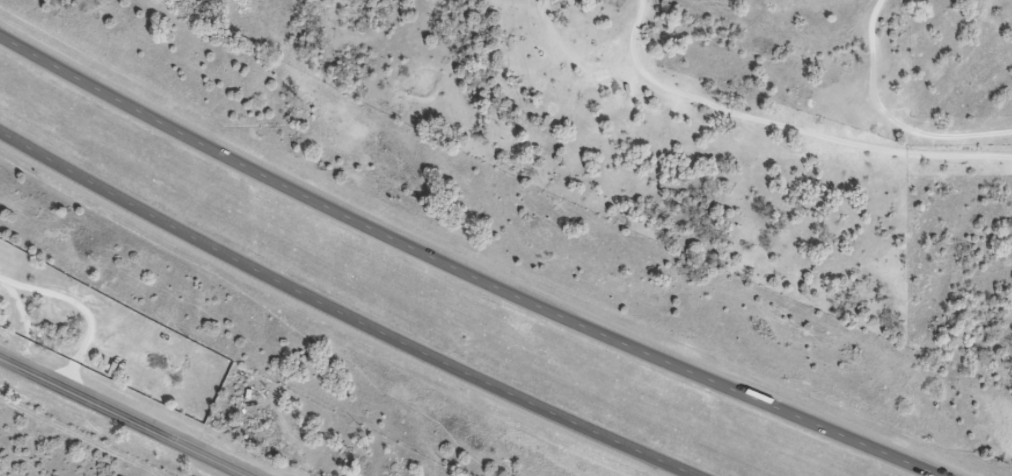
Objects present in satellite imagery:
road: (893, 117)
road: (786, 127)
road: (464, 267)
road: (346, 307)
road: (83, 310)
road: (23, 321)
building: (154, 363)
road: (124, 417)

